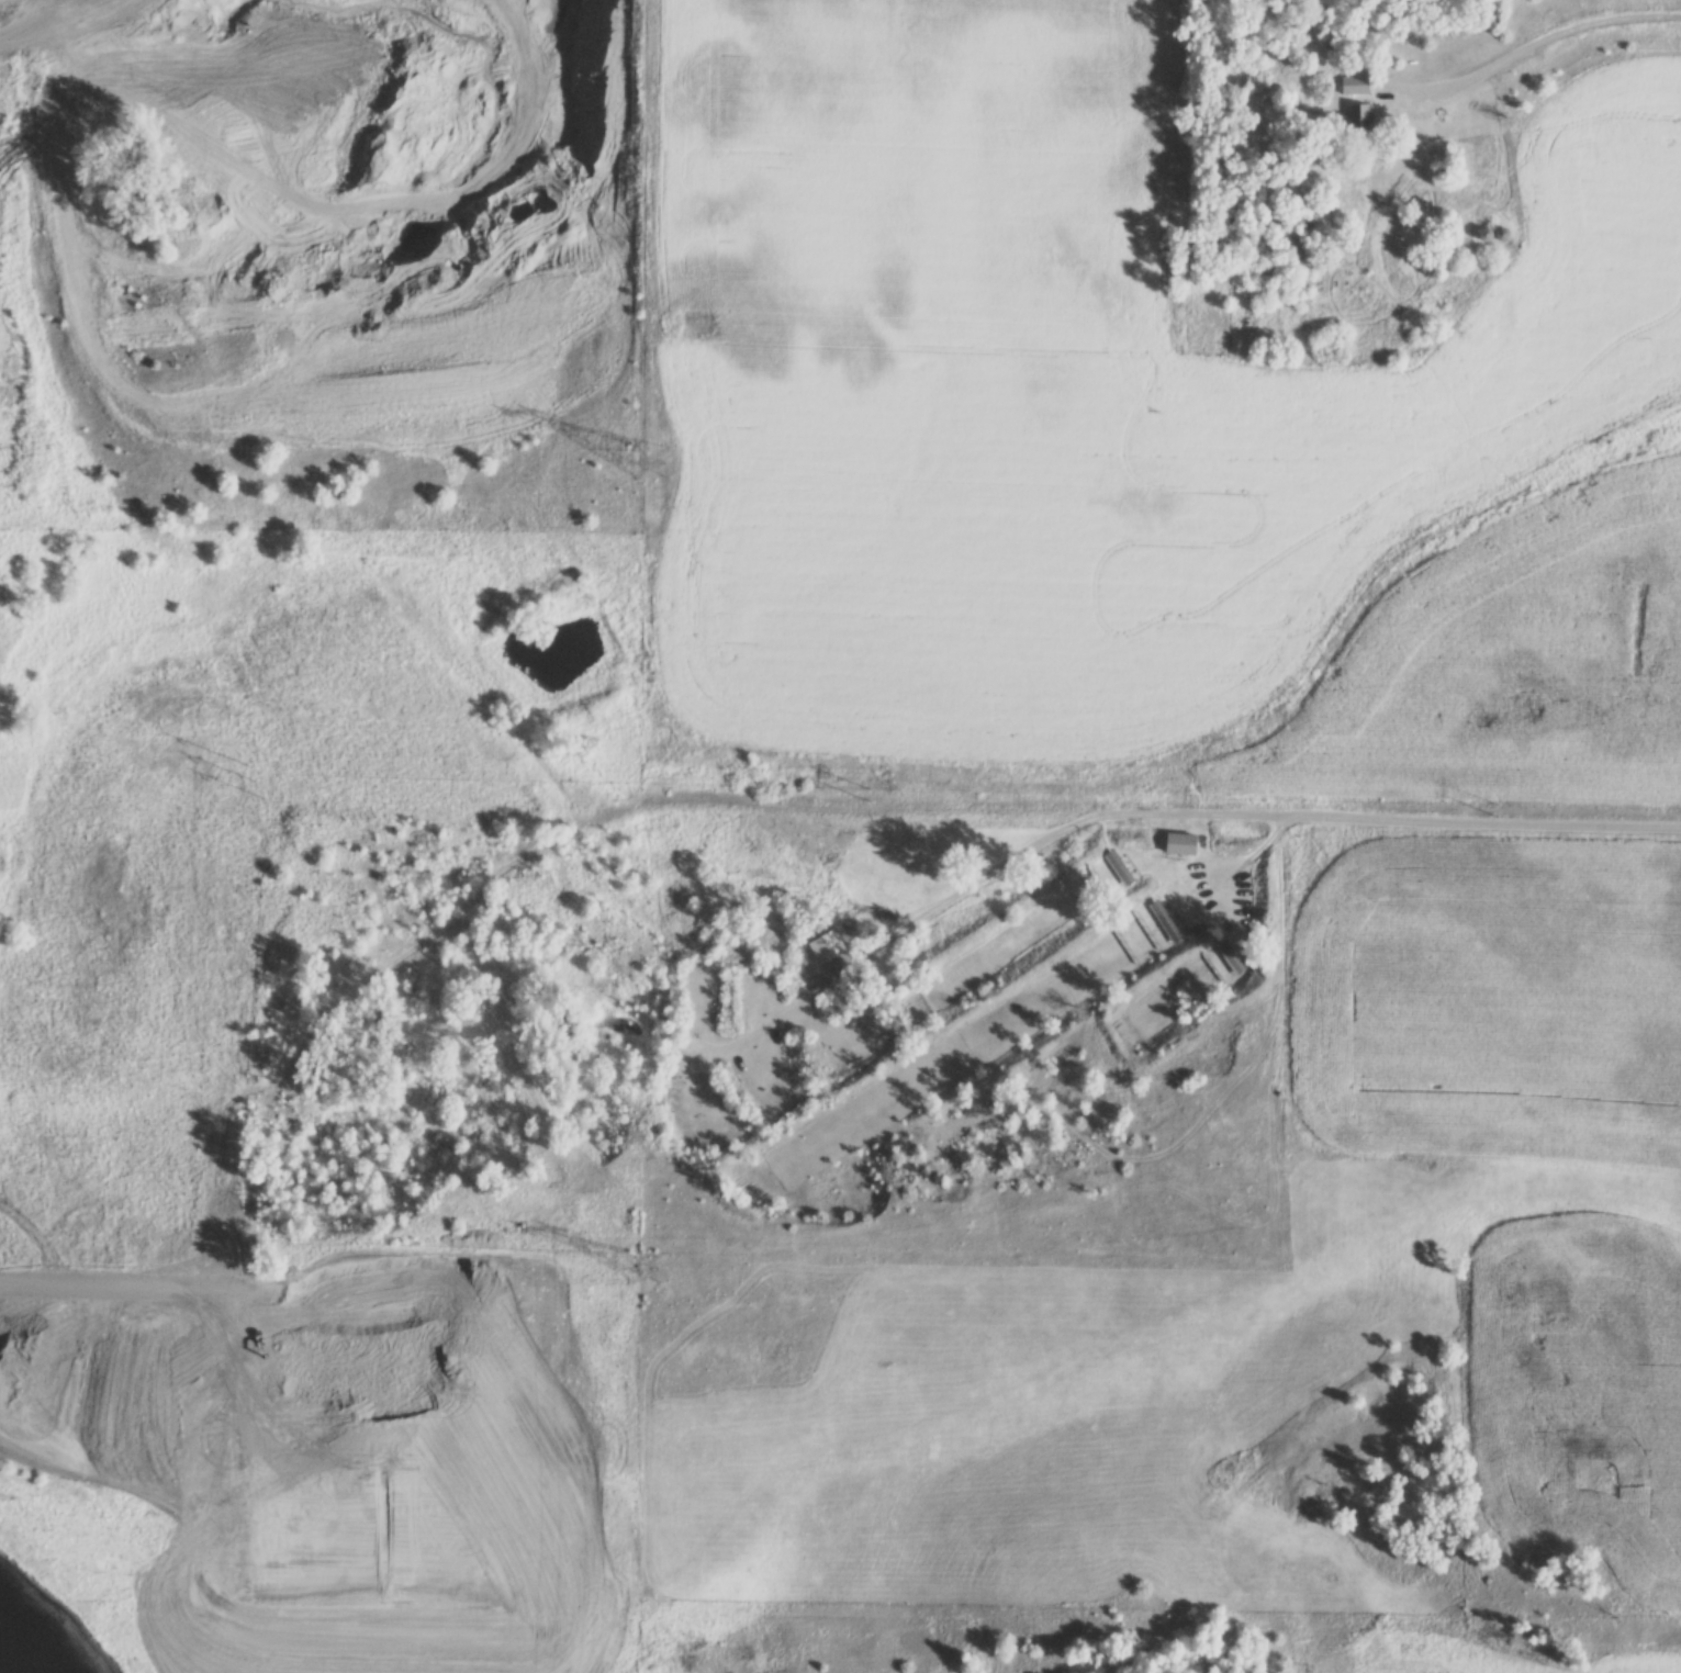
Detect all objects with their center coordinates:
road: (1548, 38)
building: (1354, 88)
building: (1356, 122)
building: (1282, 223)
power tower: (652, 467)
power tower: (259, 786)
power tower: (871, 797)
power tower: (1497, 810)
building: (1180, 846)
building: (687, 1060)
power tower: (649, 1276)

